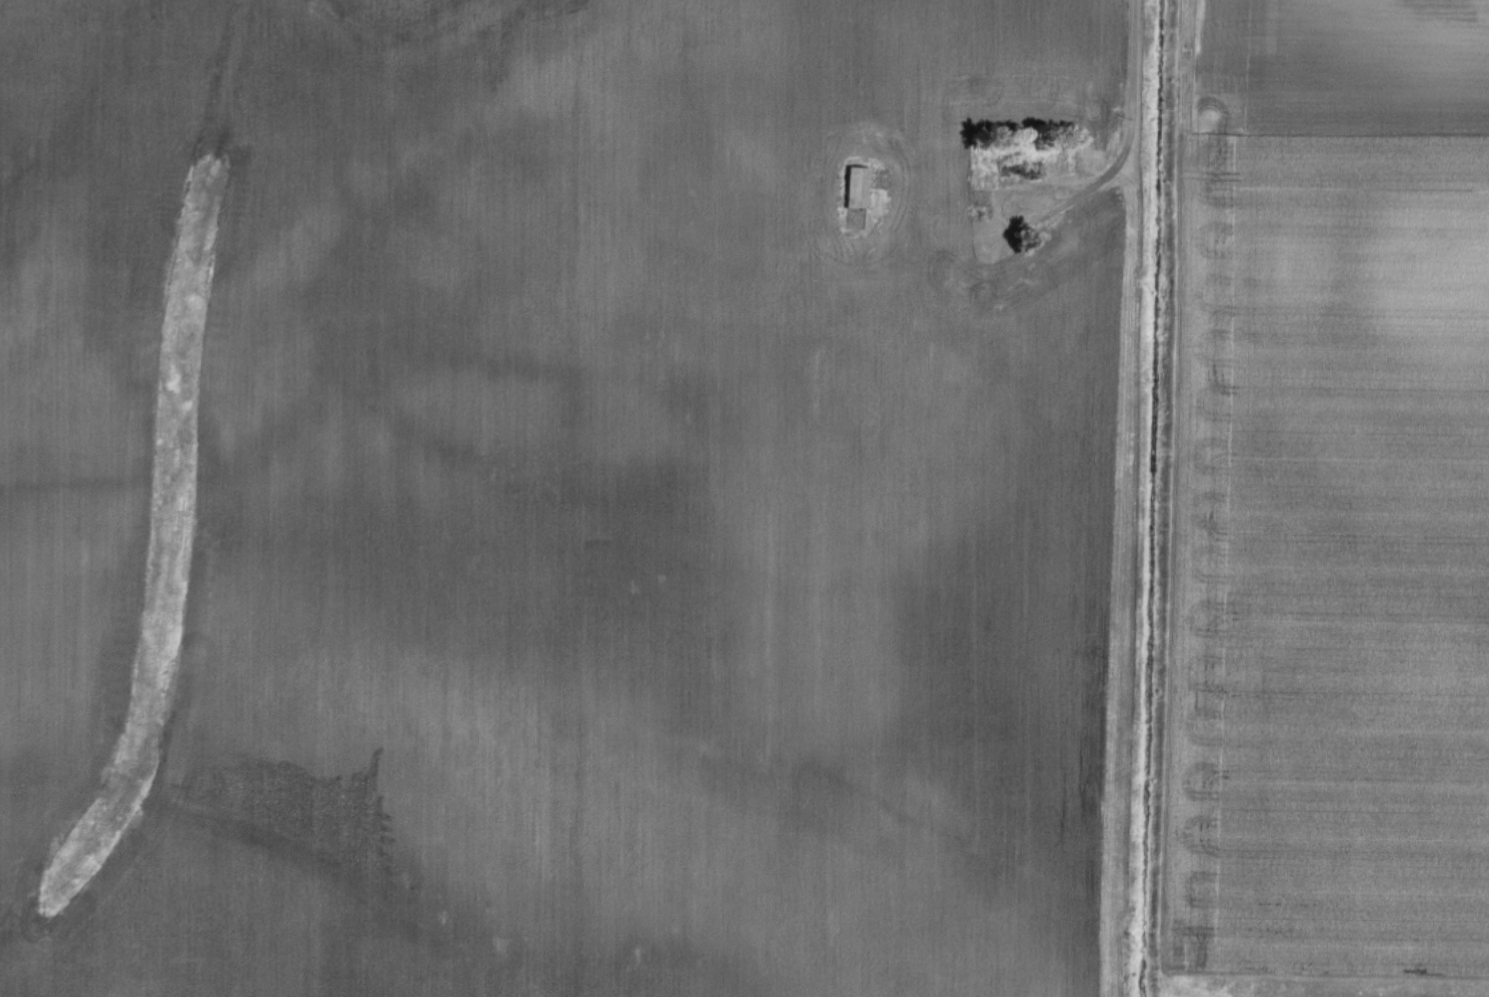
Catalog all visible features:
road: (1129, 125)
building: (856, 186)

